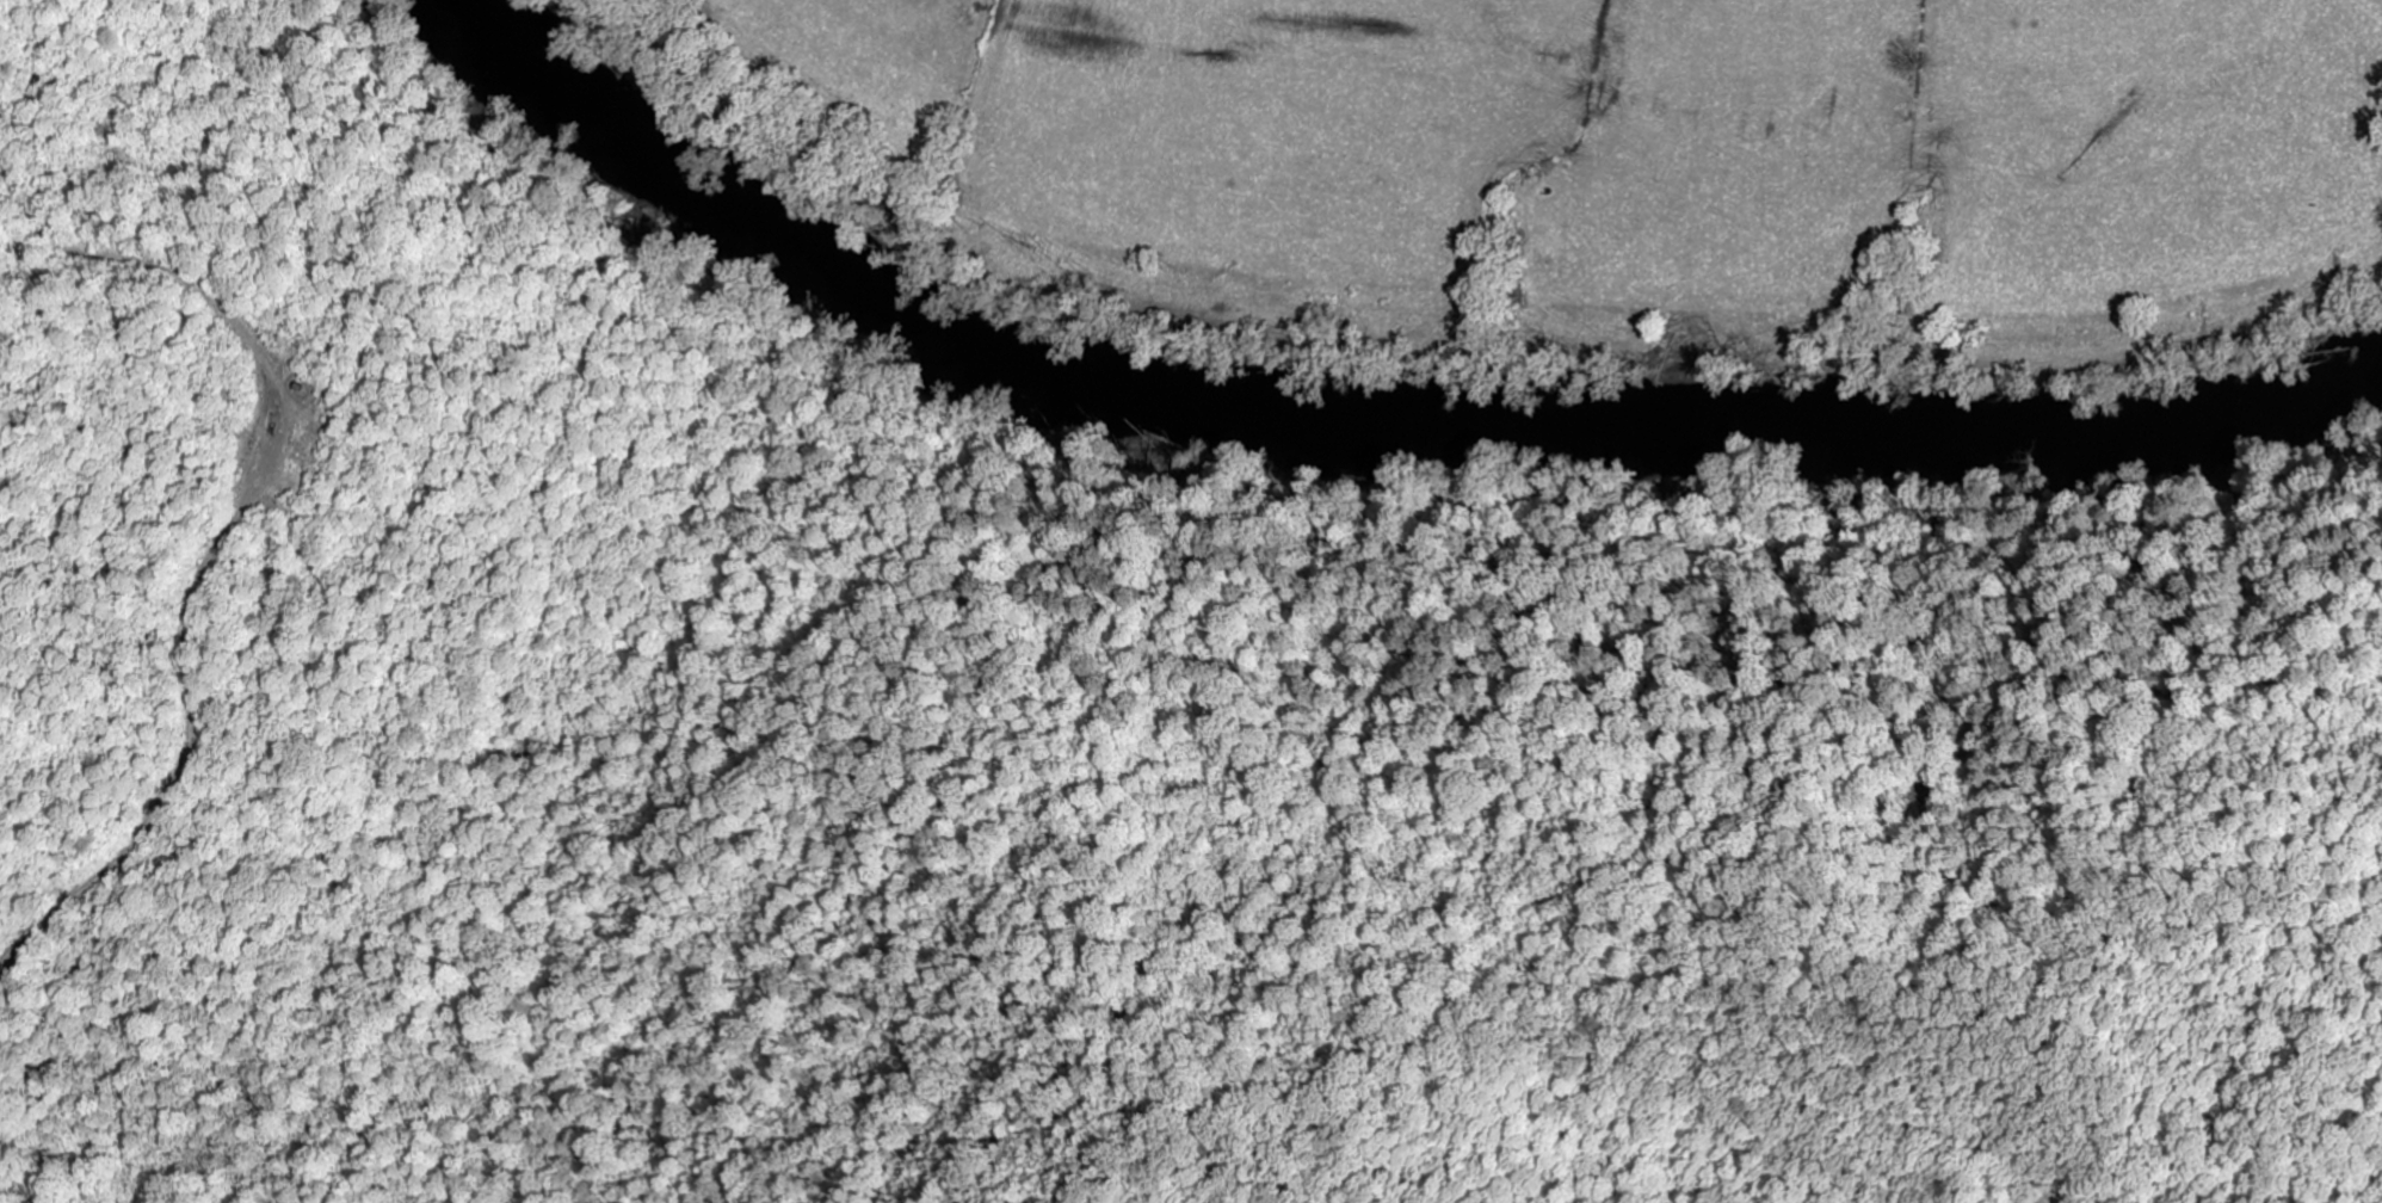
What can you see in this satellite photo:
river: (1374, 414)

